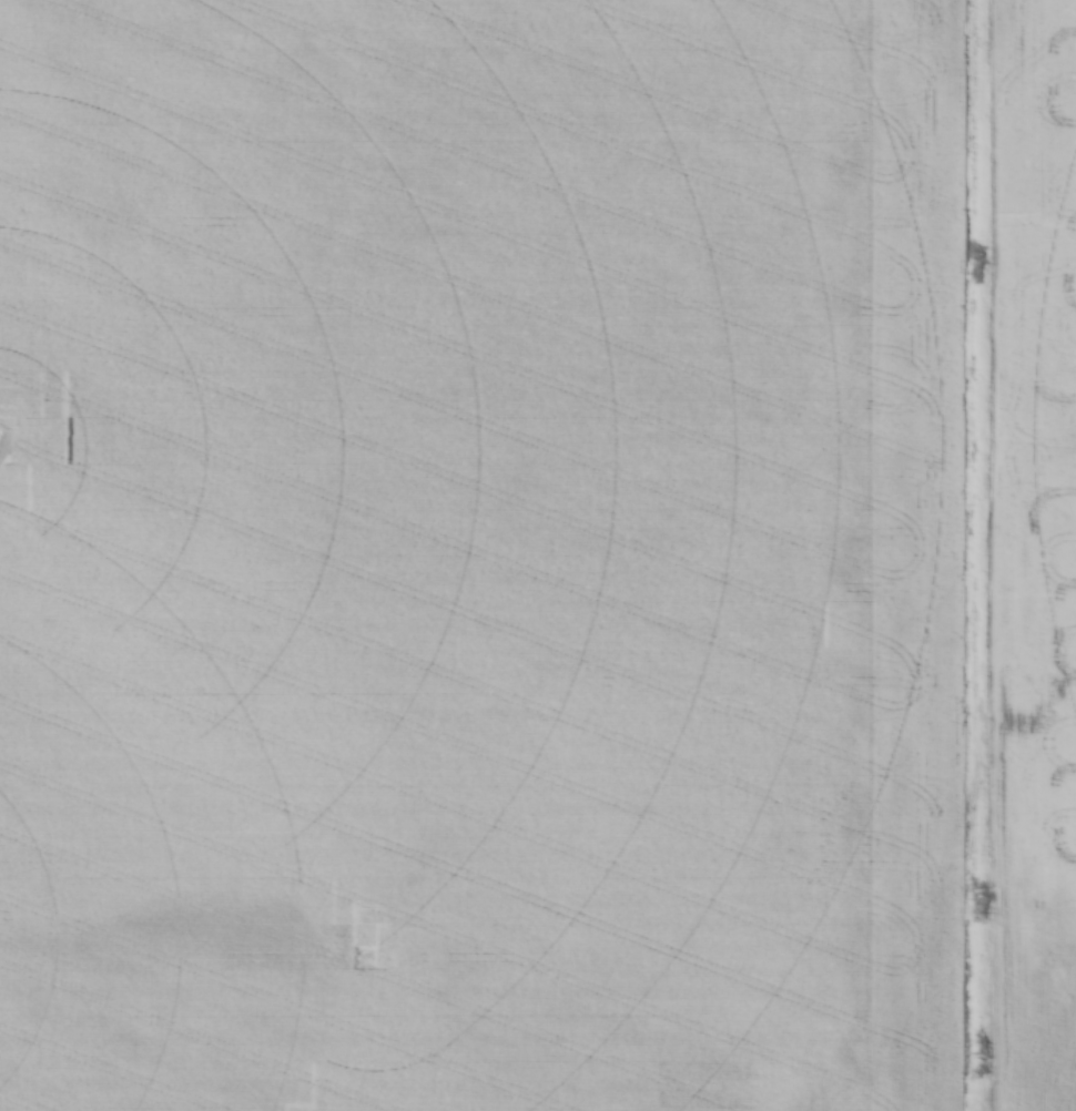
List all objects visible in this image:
road: (994, 555)

